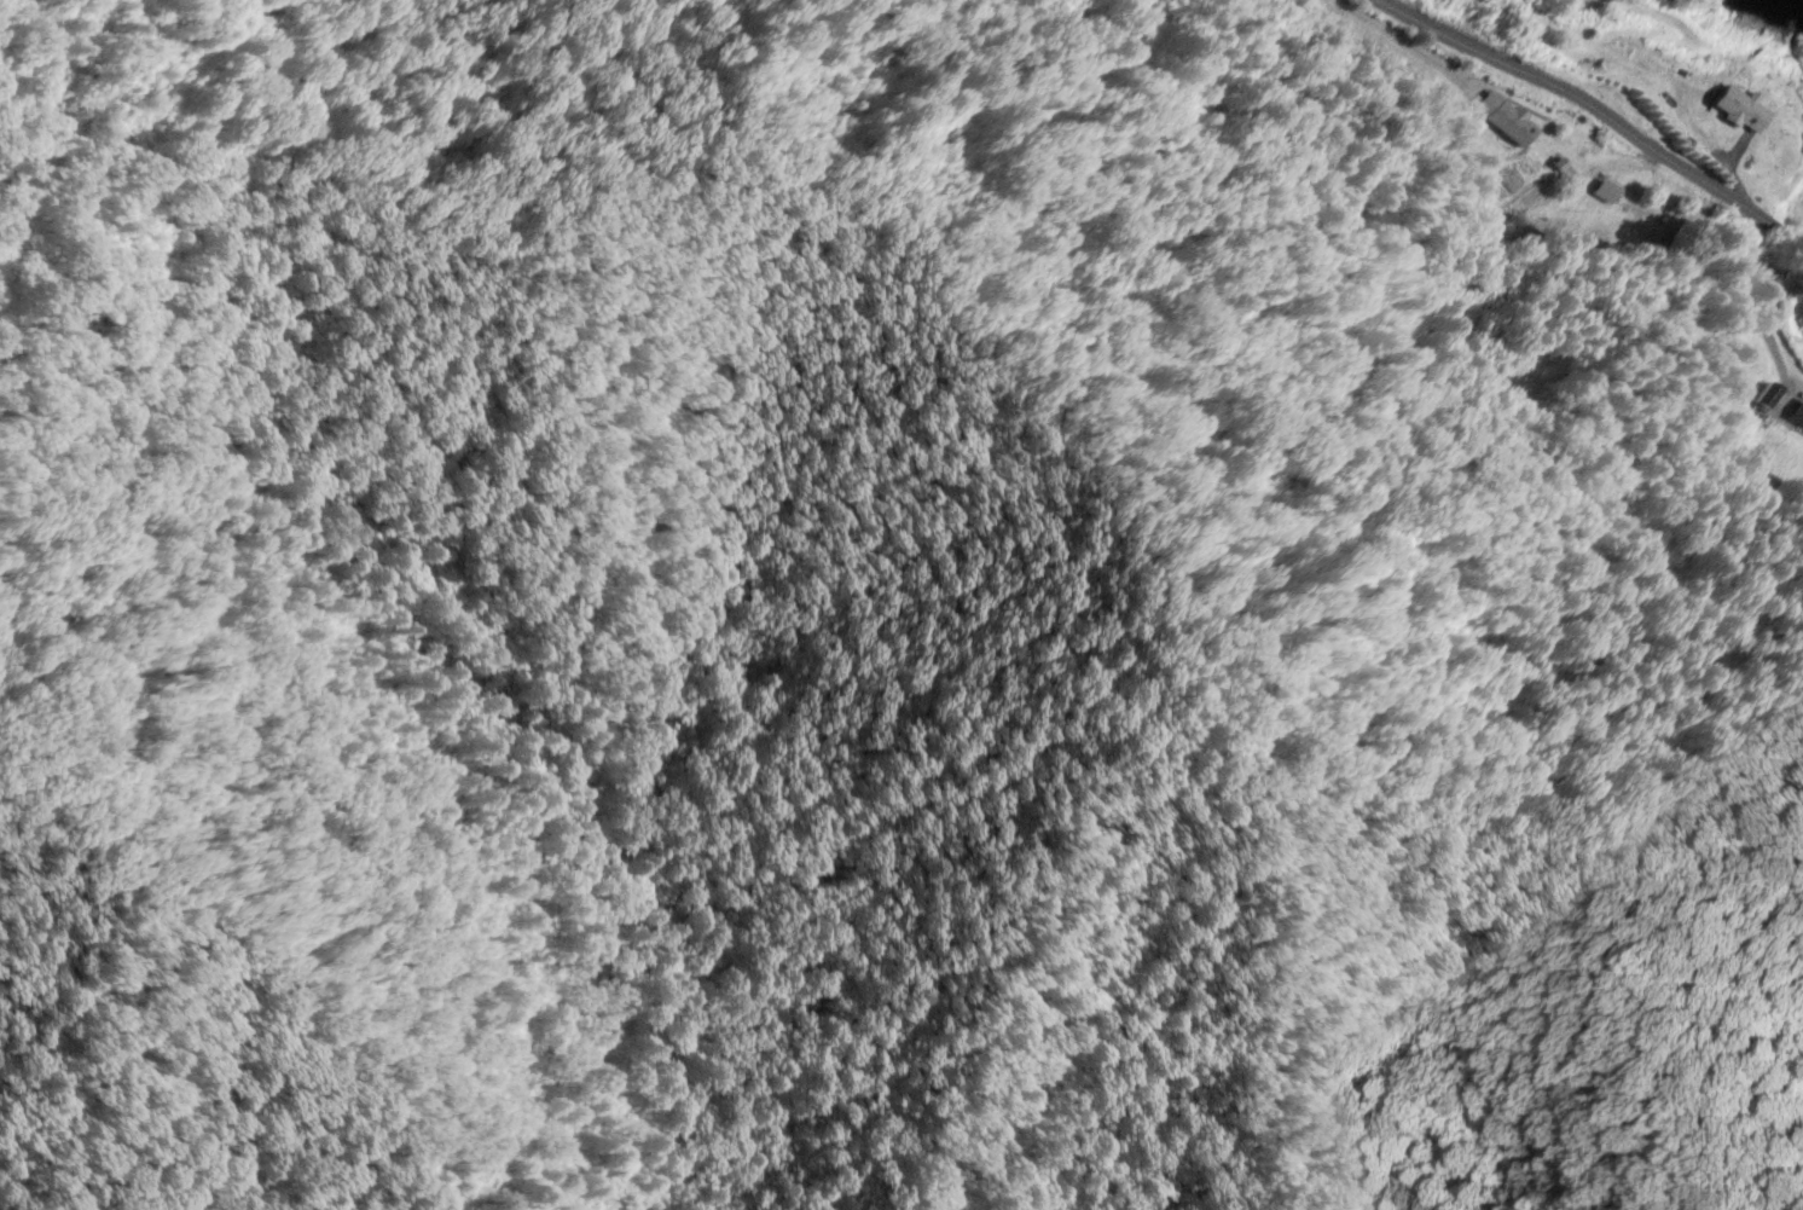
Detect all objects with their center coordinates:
road: (1598, 110)
building: (1738, 110)
building: (1802, 428)

